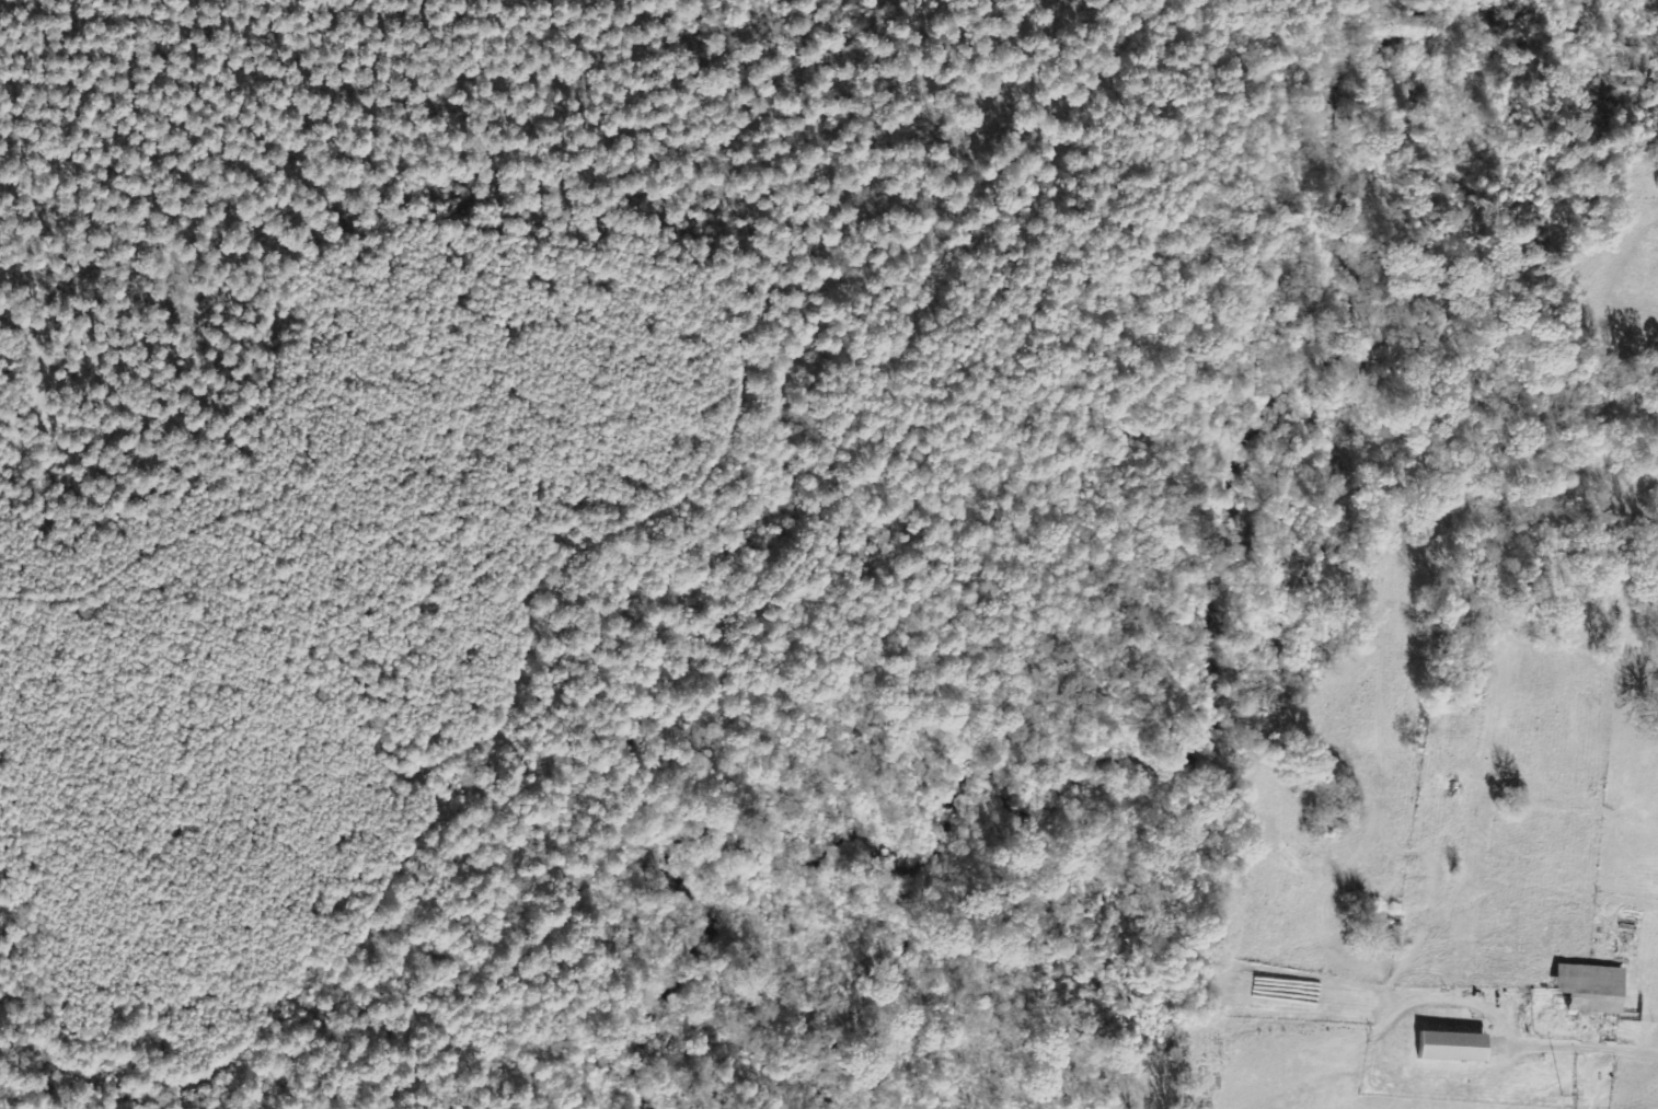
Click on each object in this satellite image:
building: (1588, 989)
building: (1448, 1048)

